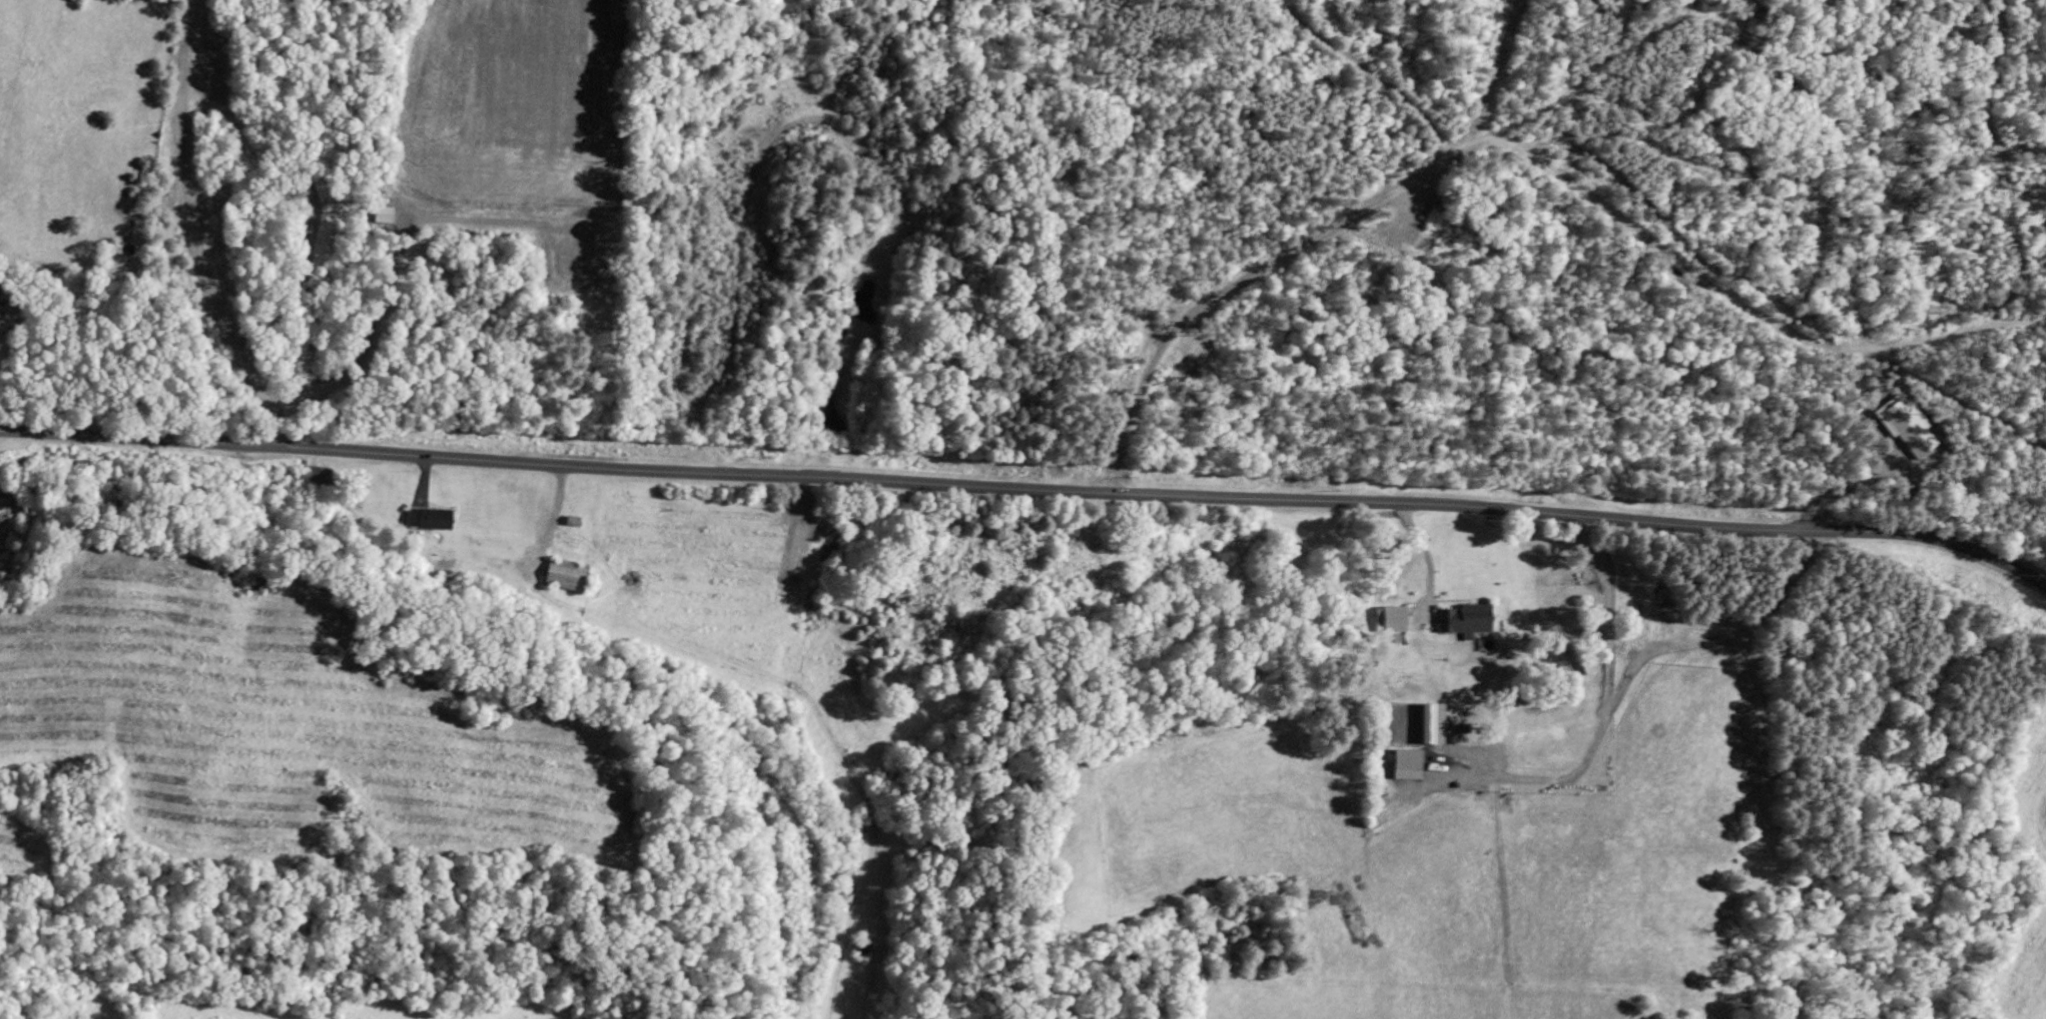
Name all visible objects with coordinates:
building: (379, 215)
road: (194, 232)
building: (0, 303)
road: (1028, 490)
building: (429, 519)
building: (1391, 619)
building: (1466, 620)
building: (1426, 725)
building: (1407, 760)

